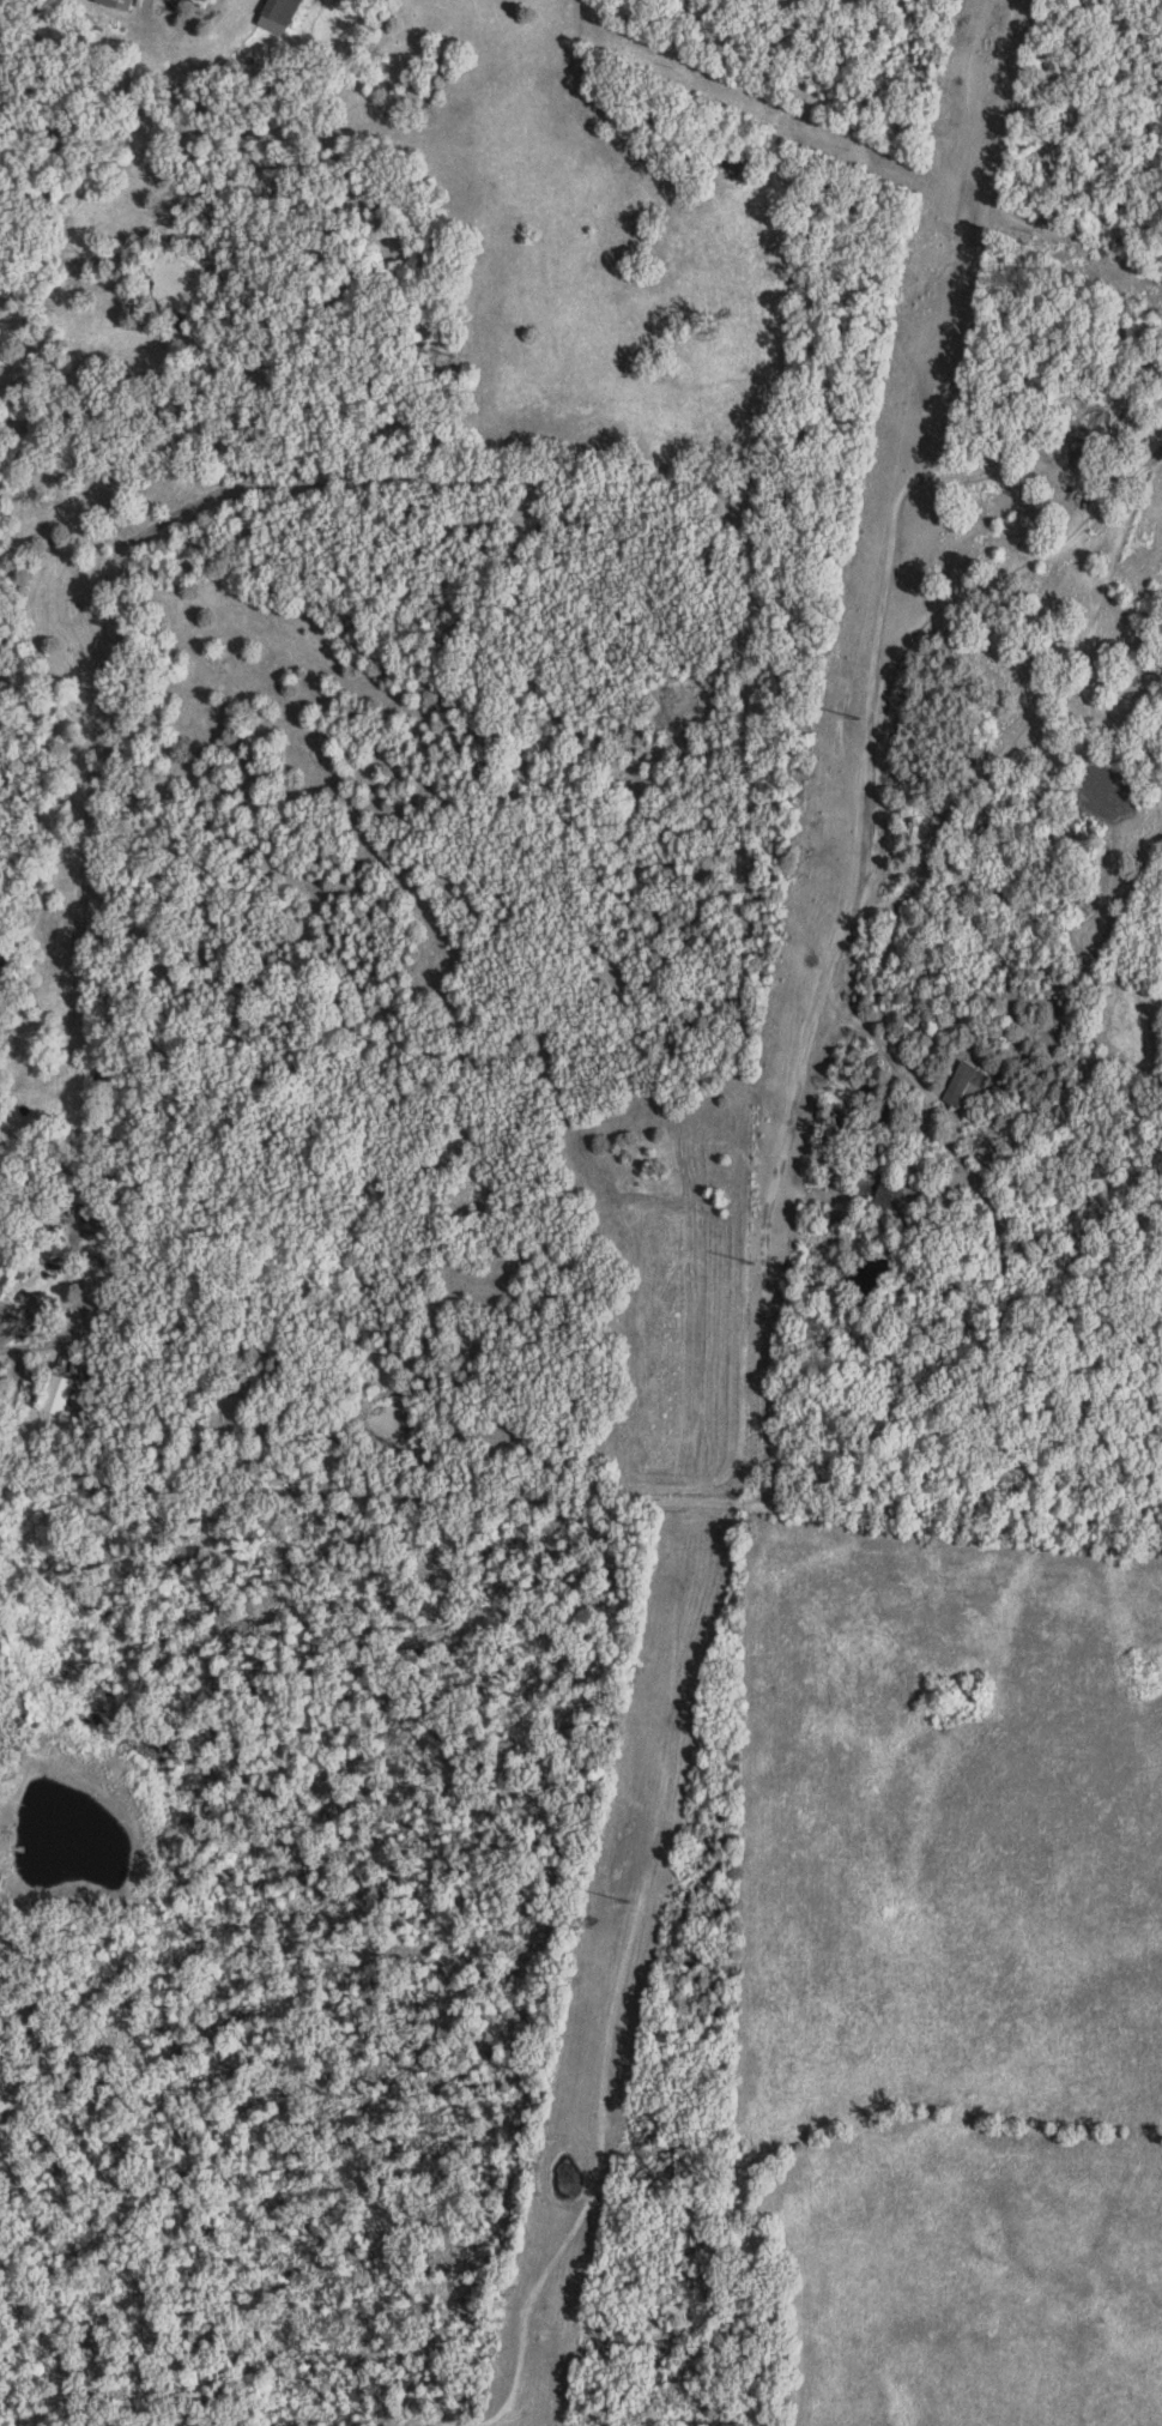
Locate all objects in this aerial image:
building: (122, 4)
building: (284, 16)
power tower: (855, 720)
power tower: (751, 1265)
building: (62, 1394)
road: (359, 1489)
power tower: (627, 1907)

